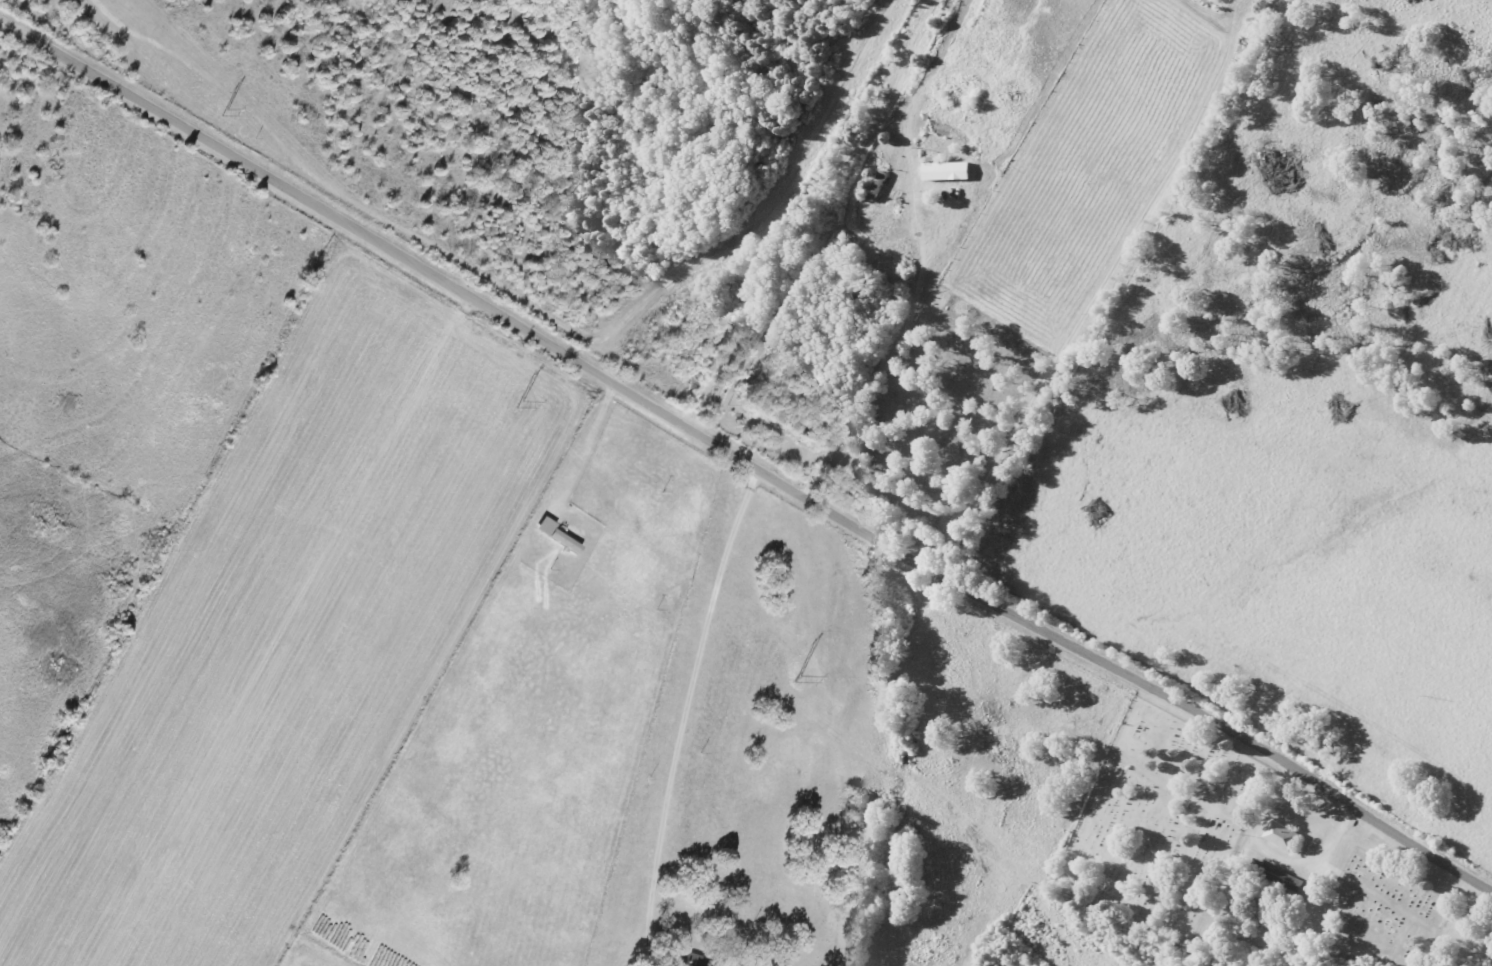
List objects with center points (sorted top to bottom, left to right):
power tower: (228, 114)
building: (948, 170)
road: (1096, 292)
road: (884, 373)
power tower: (521, 402)
road: (743, 461)
building: (566, 540)
power tower: (800, 680)
road: (684, 713)
building: (1284, 835)
park: (1220, 851)
road: (1273, 857)
building: (1273, 880)
road: (1244, 937)
building: (691, 959)

